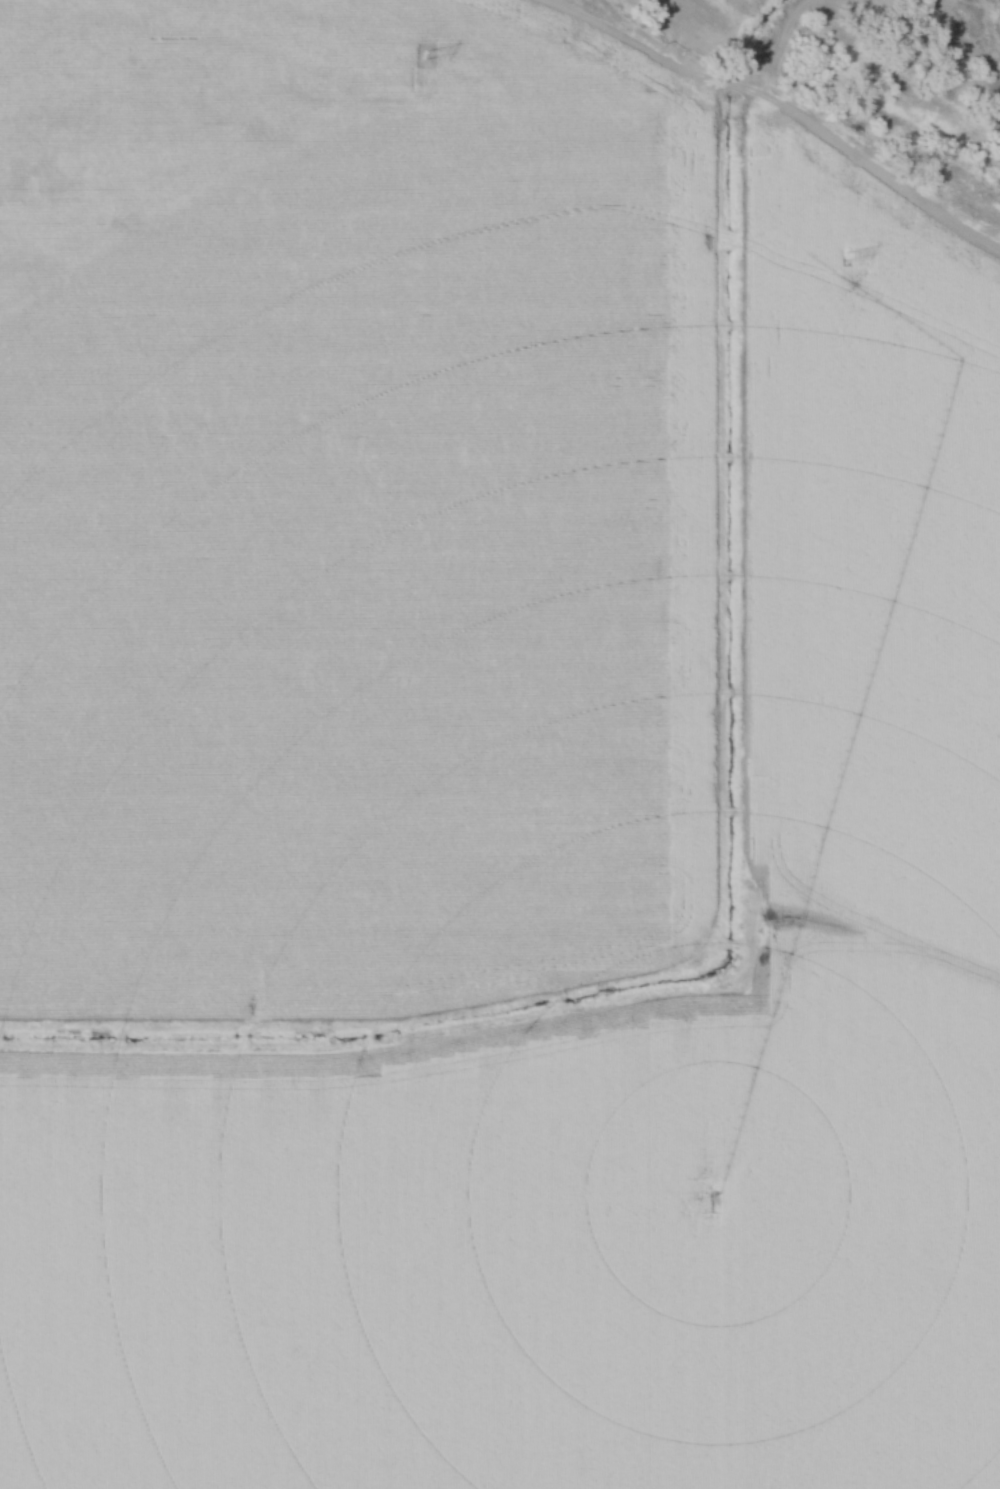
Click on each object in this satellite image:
power tower: (431, 58)
road: (773, 117)
power tower: (836, 254)
crop: (335, 506)
crop: (616, 1075)

